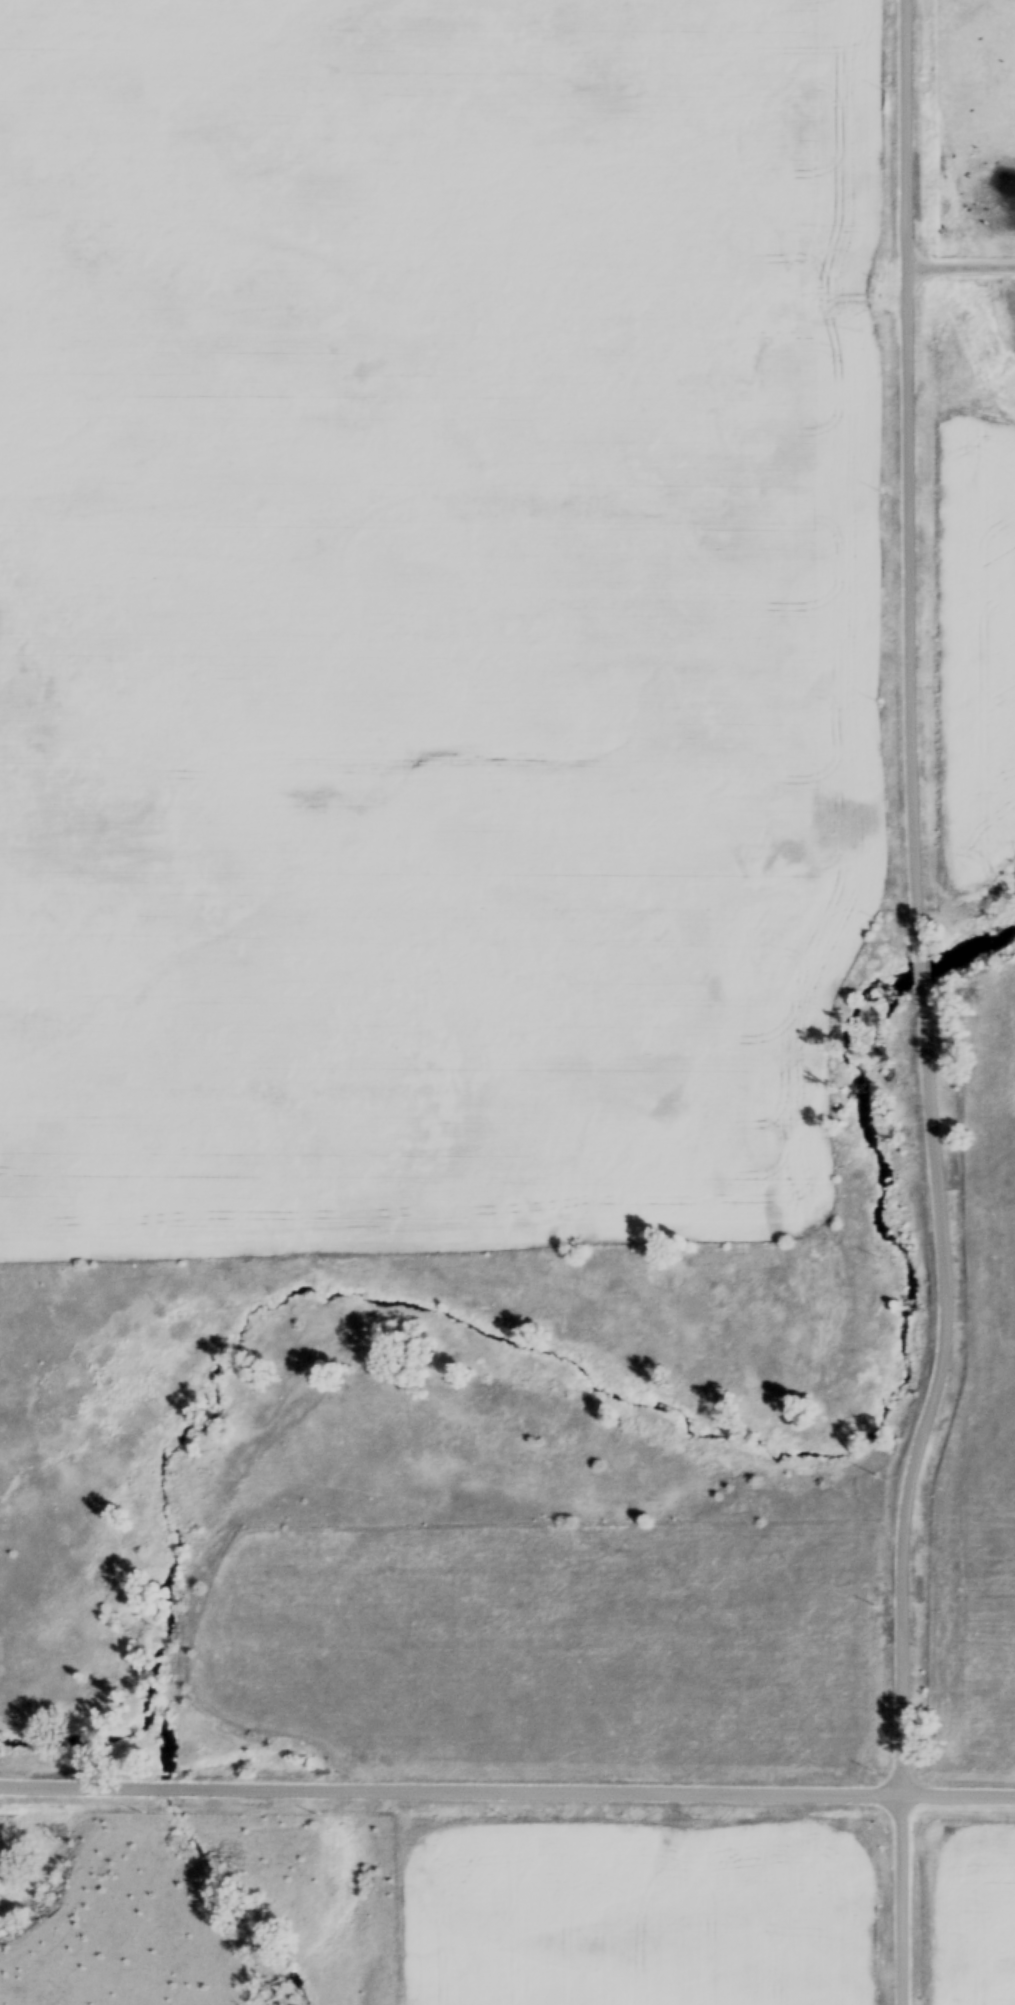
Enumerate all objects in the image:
road: (961, 266)
road: (921, 1005)
road: (507, 1787)

